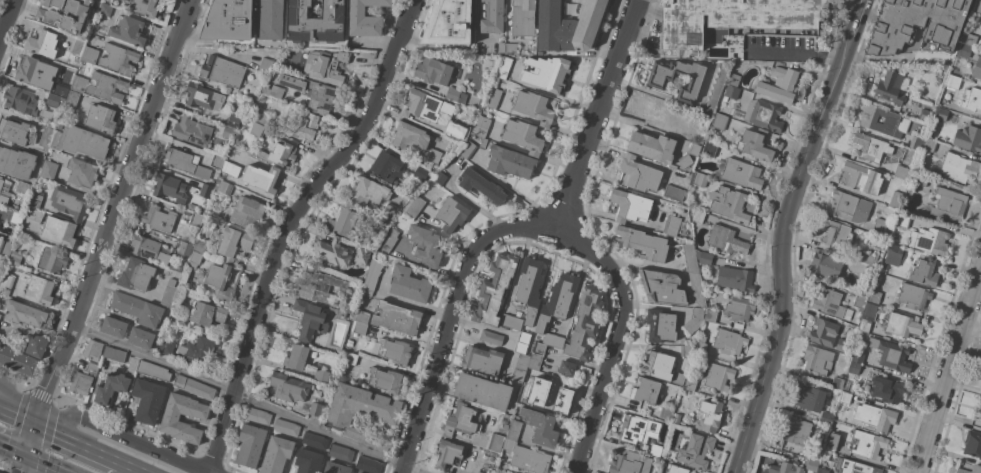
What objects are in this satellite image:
building: (107, 0)
building: (976, 6)
building: (144, 7)
building: (105, 9)
building: (64, 13)
road: (858, 16)
building: (493, 17)
building: (522, 17)
road: (6, 18)
building: (365, 18)
building: (734, 18)
building: (270, 20)
building: (227, 21)
building: (316, 21)
building: (449, 22)
building: (569, 25)
building: (916, 26)
building: (128, 31)
building: (970, 40)
building: (42, 44)
building: (77, 46)
building: (501, 47)
building: (511, 48)
building: (964, 51)
road: (795, 54)
building: (89, 55)
building: (119, 59)
building: (265, 66)
building: (324, 66)
building: (504, 67)
building: (977, 69)
building: (221, 71)
building: (433, 71)
building: (36, 73)
building: (545, 73)
building: (272, 74)
building: (733, 79)
building: (656, 81)
building: (952, 81)
building: (78, 84)
building: (779, 84)
building: (107, 87)
building: (891, 87)
building: (60, 89)
building: (716, 89)
building: (273, 91)
building: (730, 92)
building: (311, 93)
building: (455, 95)
building: (203, 97)
building: (50, 98)
building: (493, 98)
building: (72, 99)
building: (20, 100)
building: (972, 100)
building: (426, 106)
building: (534, 107)
building: (653, 109)
building: (926, 114)
building: (766, 116)
building: (945, 116)
building: (262, 117)
building: (101, 118)
building: (868, 120)
building: (233, 121)
building: (720, 121)
building: (59, 124)
building: (306, 126)
building: (482, 126)
building: (256, 129)
building: (191, 130)
building: (13, 131)
building: (457, 133)
building: (227, 135)
building: (690, 135)
building: (410, 136)
building: (523, 136)
building: (46, 137)
building: (968, 139)
building: (80, 142)
building: (915, 143)
building: (482, 144)
building: (755, 145)
building: (929, 146)
building: (652, 147)
building: (871, 147)
building: (693, 149)
building: (709, 149)
building: (467, 150)
building: (281, 154)
building: (435, 156)
building: (684, 161)
building: (217, 162)
building: (510, 162)
building: (16, 163)
building: (186, 163)
building: (387, 166)
building: (230, 168)
building: (958, 168)
building: (48, 170)
building: (82, 172)
building: (903, 172)
building: (420, 173)
building: (739, 173)
building: (639, 174)
building: (261, 178)
building: (439, 178)
building: (862, 178)
building: (699, 179)
building: (919, 179)
building: (481, 186)
building: (168, 187)
building: (24, 188)
building: (223, 188)
building: (205, 190)
building: (4, 192)
building: (368, 193)
building: (673, 193)
building: (36, 199)
building: (896, 199)
building: (69, 202)
building: (729, 204)
building: (949, 205)
building: (630, 206)
building: (415, 207)
building: (849, 207)
road: (113, 210)
building: (390, 210)
building: (247, 212)
building: (34, 214)
building: (451, 214)
building: (698, 216)
building: (16, 218)
building: (159, 218)
building: (196, 219)
building: (903, 221)
building: (344, 224)
road: (287, 225)
building: (377, 225)
building: (671, 225)
building: (881, 228)
road: (951, 229)
road: (513, 230)
building: (59, 231)
building: (835, 233)
building: (389, 239)
building: (726, 240)
building: (929, 241)
building: (233, 243)
building: (643, 243)
building: (425, 245)
building: (200, 246)
building: (5, 249)
building: (148, 249)
building: (184, 249)
road: (782, 250)
building: (332, 251)
building: (891, 254)
building: (362, 255)
building: (704, 257)
building: (15, 258)
building: (690, 258)
building: (868, 258)
building: (194, 259)
building: (51, 261)
building: (824, 267)
building: (869, 272)
building: (925, 272)
building: (136, 274)
building: (371, 278)
building: (735, 279)
building: (219, 281)
building: (6, 284)
building: (409, 284)
building: (317, 285)
building: (529, 287)
building: (662, 287)
building: (494, 289)
building: (697, 289)
building: (39, 290)
building: (168, 293)
building: (874, 296)
building: (913, 296)
building: (557, 300)
building: (860, 302)
building: (829, 303)
building: (137, 309)
building: (739, 309)
building: (23, 313)
building: (341, 314)
building: (0, 315)
building: (207, 315)
building: (175, 316)
building: (710, 316)
building: (867, 316)
building: (396, 318)
building: (309, 320)
building: (694, 320)
building: (511, 321)
building: (360, 322)
building: (584, 323)
building: (737, 325)
building: (902, 325)
building: (660, 326)
building: (113, 327)
building: (823, 332)
road: (614, 334)
building: (140, 337)
building: (491, 337)
building: (553, 340)
building: (522, 342)
building: (729, 342)
building: (843, 343)
building: (700, 345)
building: (36, 346)
building: (166, 346)
building: (92, 350)
building: (197, 350)
building: (393, 351)
building: (685, 351)
building: (114, 355)
building: (536, 355)
building: (891, 355)
building: (297, 357)
building: (859, 357)
building: (350, 358)
building: (482, 360)
building: (816, 360)
building: (18, 361)
building: (658, 365)
building: (520, 367)
building: (92, 368)
building: (566, 368)
building: (855, 368)
building: (153, 371)
building: (321, 375)
building: (531, 376)
road: (950, 376)
building: (718, 377)
building: (679, 379)
building: (385, 380)
building: (80, 383)
building: (359, 383)
building: (837, 383)
building: (690, 384)
building: (111, 387)
building: (194, 388)
building: (288, 388)
building: (980, 388)
building: (887, 389)
building: (483, 391)
building: (537, 391)
building: (646, 391)
road: (244, 397)
building: (845, 397)
building: (552, 399)
building: (148, 400)
building: (812, 403)
road: (18, 404)
building: (978, 407)
building: (315, 409)
road: (18, 413)
building: (666, 413)
building: (362, 414)
building: (258, 416)
building: (709, 416)
building: (875, 417)
building: (170, 418)
building: (676, 418)
building: (980, 418)
traffic signals: (36, 421)
building: (460, 421)
building: (540, 426)
building: (286, 427)
building: (638, 429)
building: (513, 430)
building: (796, 430)
road: (122, 437)
road: (30, 440)
building: (314, 440)
road: (80, 441)
building: (832, 441)
building: (495, 442)
building: (868, 444)
building: (972, 444)
building: (250, 445)
building: (655, 450)
building: (696, 451)
building: (340, 452)
building: (447, 453)
road: (12, 454)
building: (276, 454)
building: (815, 455)
building: (527, 458)
building: (825, 459)
traffic signals: (25, 460)
building: (308, 461)
building: (630, 463)
building: (368, 465)
building: (811, 465)
road: (22, 466)
road: (40, 466)
road: (137, 467)
building: (857, 467)
building: (336, 468)
building: (785, 468)
building: (676, 469)
building: (976, 470)
building: (822, 471)

